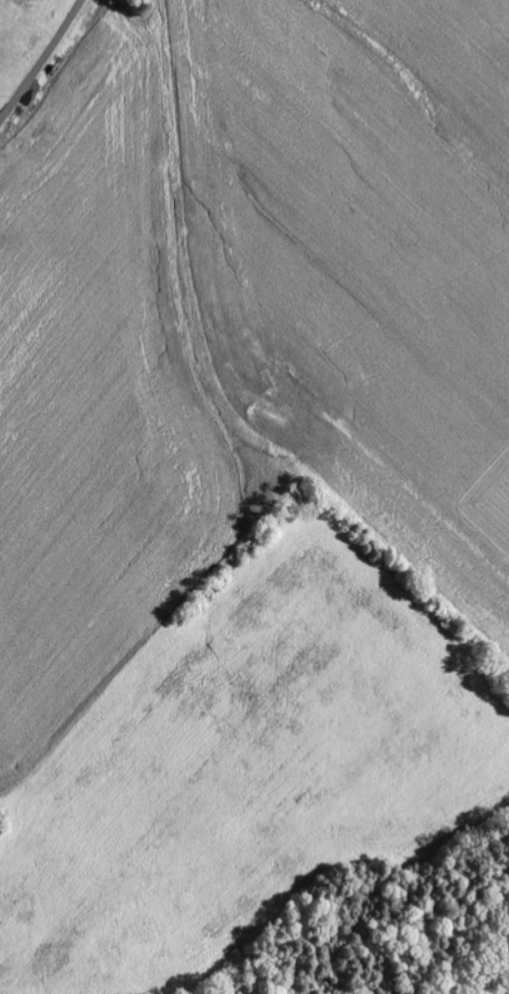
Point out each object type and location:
road: (41, 61)

